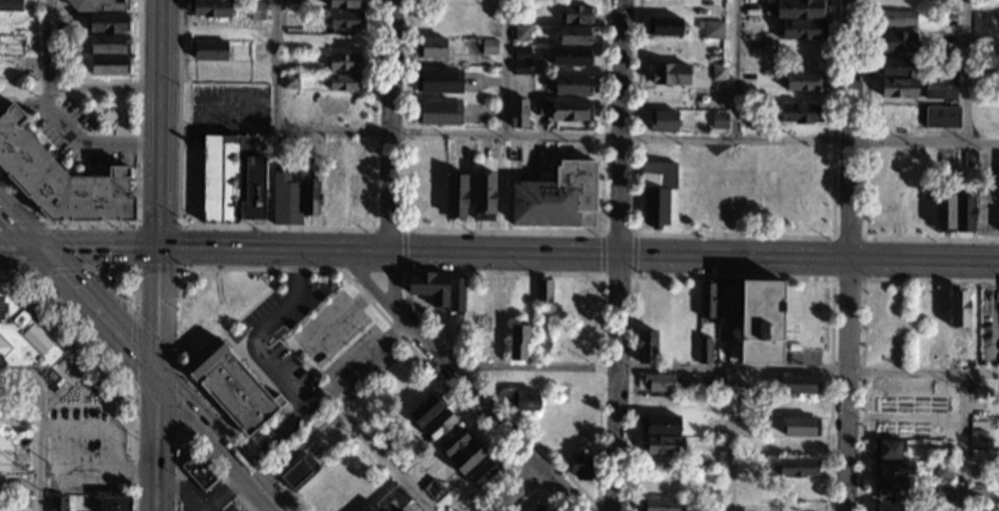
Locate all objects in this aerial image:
building: (344, 4)
building: (10, 6)
building: (98, 6)
building: (210, 9)
building: (799, 9)
building: (257, 10)
building: (575, 15)
building: (896, 19)
building: (345, 20)
building: (108, 26)
building: (664, 27)
building: (800, 29)
building: (713, 30)
building: (521, 33)
building: (575, 35)
building: (896, 41)
building: (108, 47)
building: (489, 47)
building: (430, 49)
building: (208, 50)
building: (521, 53)
building: (571, 56)
building: (344, 62)
building: (935, 64)
road: (274, 65)
road: (504, 67)
building: (894, 67)
building: (521, 68)
building: (981, 68)
building: (109, 69)
road: (737, 69)
building: (948, 69)
building: (719, 72)
road: (968, 72)
building: (668, 75)
road: (159, 80)
building: (438, 80)
building: (290, 81)
building: (804, 81)
building: (345, 83)
road: (59, 84)
building: (572, 85)
building: (897, 88)
building: (939, 90)
road: (229, 103)
road: (31, 104)
building: (538, 107)
parking lot: (226, 111)
building: (570, 111)
building: (439, 112)
building: (518, 113)
building: (800, 113)
building: (941, 118)
building: (662, 119)
building: (718, 119)
road: (216, 130)
parking lot: (82, 136)
road: (636, 137)
road: (82, 143)
parking lot: (259, 145)
road: (388, 147)
chimney: (202, 150)
road: (528, 155)
building: (970, 158)
building: (60, 178)
building: (998, 179)
building: (231, 180)
road: (505, 185)
road: (863, 186)
road: (136, 190)
building: (656, 191)
building: (456, 195)
building: (484, 196)
building: (556, 196)
building: (312, 197)
building: (285, 199)
road: (157, 204)
building: (944, 212)
building: (964, 212)
road: (251, 221)
road: (256, 221)
road: (261, 221)
road: (19, 223)
road: (277, 225)
road: (387, 228)
road: (504, 230)
road: (617, 233)
road: (734, 235)
road: (862, 237)
road: (20, 245)
traffic signals: (40, 245)
road: (98, 246)
traffic signals: (157, 248)
road: (404, 249)
road: (578, 251)
road: (601, 253)
road: (633, 254)
road: (619, 255)
road: (848, 255)
road: (177, 265)
road: (93, 266)
road: (276, 269)
road: (363, 271)
road: (373, 271)
road: (617, 274)
road: (731, 276)
road: (884, 279)
building: (429, 287)
building: (455, 293)
building: (543, 293)
road: (133, 297)
building: (706, 300)
road: (40, 301)
building: (727, 302)
building: (958, 309)
road: (97, 312)
road: (156, 313)
road: (341, 315)
building: (760, 322)
parking lot: (329, 327)
road: (260, 330)
building: (22, 339)
building: (517, 341)
road: (288, 342)
road: (198, 345)
road: (66, 346)
road: (84, 347)
building: (645, 347)
building: (704, 351)
road: (275, 353)
road: (245, 359)
parking lot: (360, 362)
road: (114, 363)
road: (359, 364)
road: (721, 370)
road: (65, 377)
traffic signals: (155, 380)
building: (659, 382)
building: (229, 385)
building: (800, 385)
building: (716, 386)
road: (80, 389)
building: (279, 400)
building: (524, 401)
road: (481, 402)
road: (97, 405)
building: (424, 411)
road: (39, 424)
building: (661, 425)
building: (438, 426)
building: (800, 427)
road: (97, 428)
road: (177, 432)
building: (976, 435)
road: (274, 438)
road: (859, 440)
building: (22, 441)
road: (733, 441)
road: (963, 441)
building: (453, 442)
road: (189, 443)
building: (389, 443)
road: (597, 443)
road: (154, 445)
road: (215, 445)
building: (662, 446)
building: (888, 449)
parking lot: (84, 450)
building: (175, 452)
building: (403, 457)
road: (382, 459)
building: (466, 459)
building: (20, 462)
building: (921, 465)
road: (515, 466)
building: (581, 467)
building: (796, 468)
building: (893, 469)
road: (96, 470)
building: (943, 471)
building: (198, 472)
building: (482, 472)
building: (298, 473)
building: (711, 488)
road: (537, 489)
building: (434, 490)
road: (516, 490)
building: (976, 490)
building: (890, 491)
road: (223, 493)
building: (391, 501)
building: (58, 503)
building: (21, 504)
building: (115, 504)
building: (659, 506)
road: (594, 507)
building: (887, 507)
building: (534, 509)

